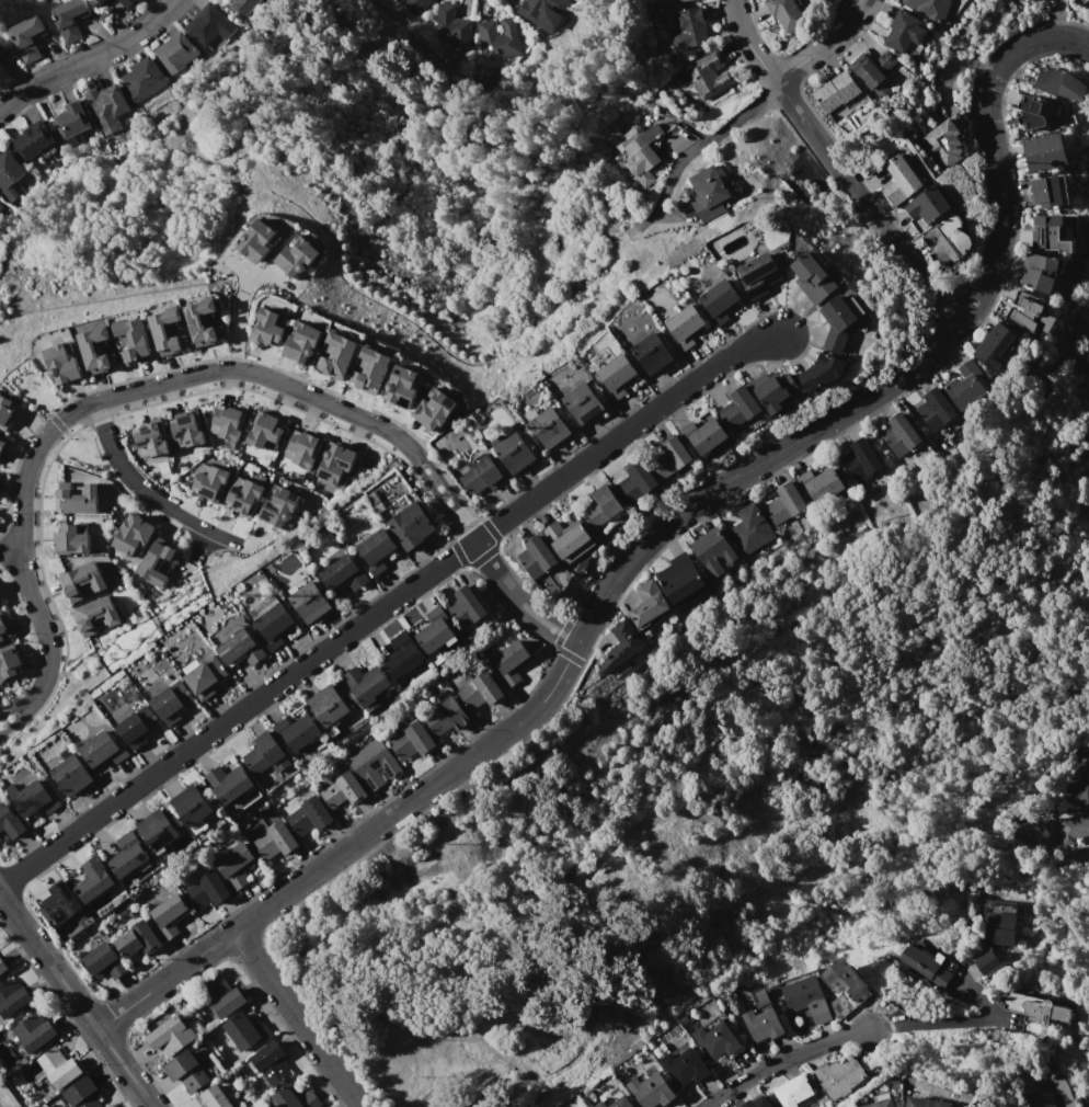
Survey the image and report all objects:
building: (681, 0)
building: (104, 2)
building: (402, 2)
building: (127, 3)
building: (243, 7)
building: (928, 8)
building: (542, 12)
building: (786, 13)
building: (70, 19)
building: (451, 26)
building: (210, 27)
building: (688, 28)
building: (485, 31)
building: (905, 31)
building: (28, 38)
road: (827, 47)
building: (3, 49)
building: (175, 52)
road: (87, 57)
building: (874, 71)
building: (3, 72)
building: (707, 75)
building: (142, 78)
building: (1061, 83)
building: (836, 91)
building: (106, 106)
building: (1044, 112)
building: (70, 119)
building: (947, 138)
road: (703, 139)
building: (32, 140)
building: (634, 149)
building: (1045, 151)
road: (836, 168)
building: (9, 174)
building: (901, 180)
building: (710, 193)
building: (1047, 193)
building: (929, 205)
power tower: (776, 221)
building: (1059, 232)
building: (949, 238)
building: (259, 240)
building: (298, 255)
building: (1042, 271)
building: (757, 275)
building: (813, 277)
building: (718, 298)
building: (1030, 313)
building: (204, 322)
road: (237, 322)
building: (839, 322)
building: (684, 327)
building: (270, 328)
building: (168, 332)
building: (133, 341)
building: (302, 342)
building: (995, 346)
building: (98, 350)
building: (649, 355)
building: (337, 356)
building: (62, 365)
building: (371, 370)
building: (822, 373)
building: (616, 377)
building: (404, 386)
building: (966, 386)
building: (773, 390)
road: (91, 402)
building: (582, 403)
building: (740, 408)
building: (435, 410)
building: (4, 412)
building: (938, 414)
building: (228, 422)
power tower: (496, 423)
building: (549, 426)
building: (186, 430)
building: (264, 431)
building: (899, 435)
building: (704, 440)
building: (150, 441)
building: (3, 443)
building: (302, 448)
building: (515, 454)
building: (670, 457)
building: (860, 460)
building: (335, 465)
building: (481, 476)
road: (442, 479)
building: (637, 481)
building: (210, 482)
building: (819, 484)
road: (432, 487)
road: (142, 492)
building: (244, 495)
building: (76, 498)
building: (784, 503)
building: (279, 505)
building: (601, 507)
building: (411, 525)
road: (465, 526)
building: (750, 529)
building: (135, 536)
road: (646, 537)
building: (71, 539)
building: (569, 539)
building: (714, 550)
building: (376, 551)
building: (538, 557)
building: (158, 563)
building: (344, 574)
building: (679, 578)
building: (82, 581)
power tower: (255, 597)
road: (517, 600)
building: (309, 602)
road: (387, 603)
building: (647, 603)
building: (467, 607)
building: (94, 616)
building: (271, 626)
building: (2, 630)
building: (436, 635)
building: (241, 649)
building: (621, 649)
building: (403, 655)
building: (509, 662)
building: (9, 664)
building: (205, 676)
building: (367, 685)
building: (480, 691)
building: (171, 701)
building: (330, 707)
road: (9, 712)
building: (446, 717)
road: (13, 723)
building: (136, 727)
building: (298, 731)
building: (412, 741)
building: (103, 749)
building: (266, 755)
building: (374, 764)
building: (72, 774)
building: (1079, 779)
building: (228, 783)
building: (343, 791)
building: (34, 798)
building: (192, 808)
building: (309, 815)
building: (9, 821)
building: (1075, 825)
building: (158, 829)
building: (274, 841)
building: (129, 855)
building: (236, 865)
building: (93, 879)
building: (206, 891)
building: (60, 902)
building: (169, 915)
building: (138, 939)
building: (104, 961)
building: (985, 961)
building: (926, 962)
building: (2, 967)
building: (849, 981)
building: (758, 994)
road: (976, 994)
building: (222, 996)
building: (12, 997)
building: (806, 998)
road: (74, 1004)
building: (1034, 1007)
road: (296, 1018)
road: (943, 1020)
building: (763, 1025)
building: (245, 1030)
building: (33, 1031)
building: (172, 1035)
building: (717, 1040)
road: (781, 1060)
building: (271, 1062)
building: (58, 1068)
building: (684, 1068)
building: (187, 1071)
building: (838, 1076)
building: (651, 1091)
building: (793, 1091)
building: (80, 1094)
building: (211, 1098)
building: (294, 1098)
building: (1038, 1099)
building: (622, 1103)
building: (925, 1103)
building: (747, 1104)
building: (764, 1104)
building: (881, 1104)
building: (603, 1105)

